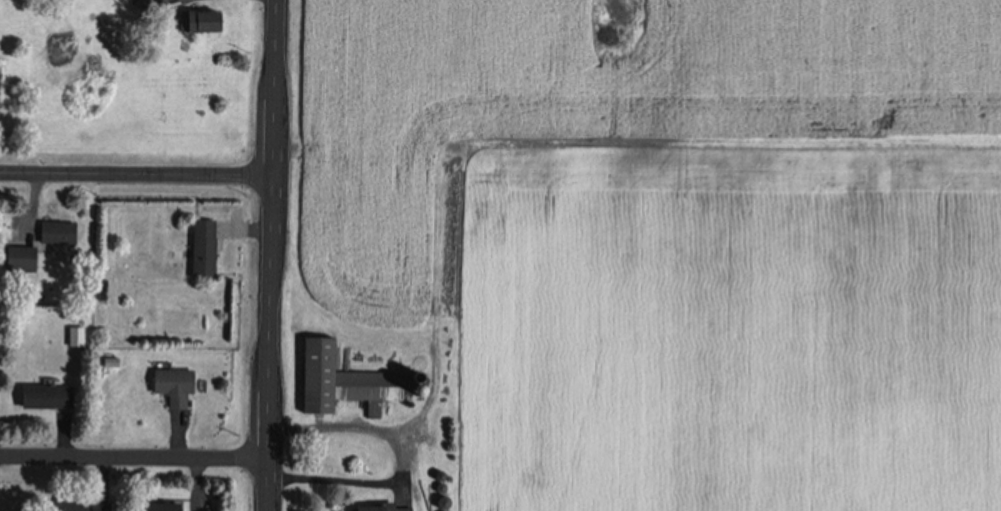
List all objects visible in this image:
building: (199, 20)
road: (134, 172)
building: (55, 231)
building: (200, 248)
road: (267, 255)
building: (17, 257)
building: (346, 380)
building: (171, 385)
building: (44, 395)
road: (131, 457)
building: (78, 506)
building: (161, 506)
building: (375, 507)

